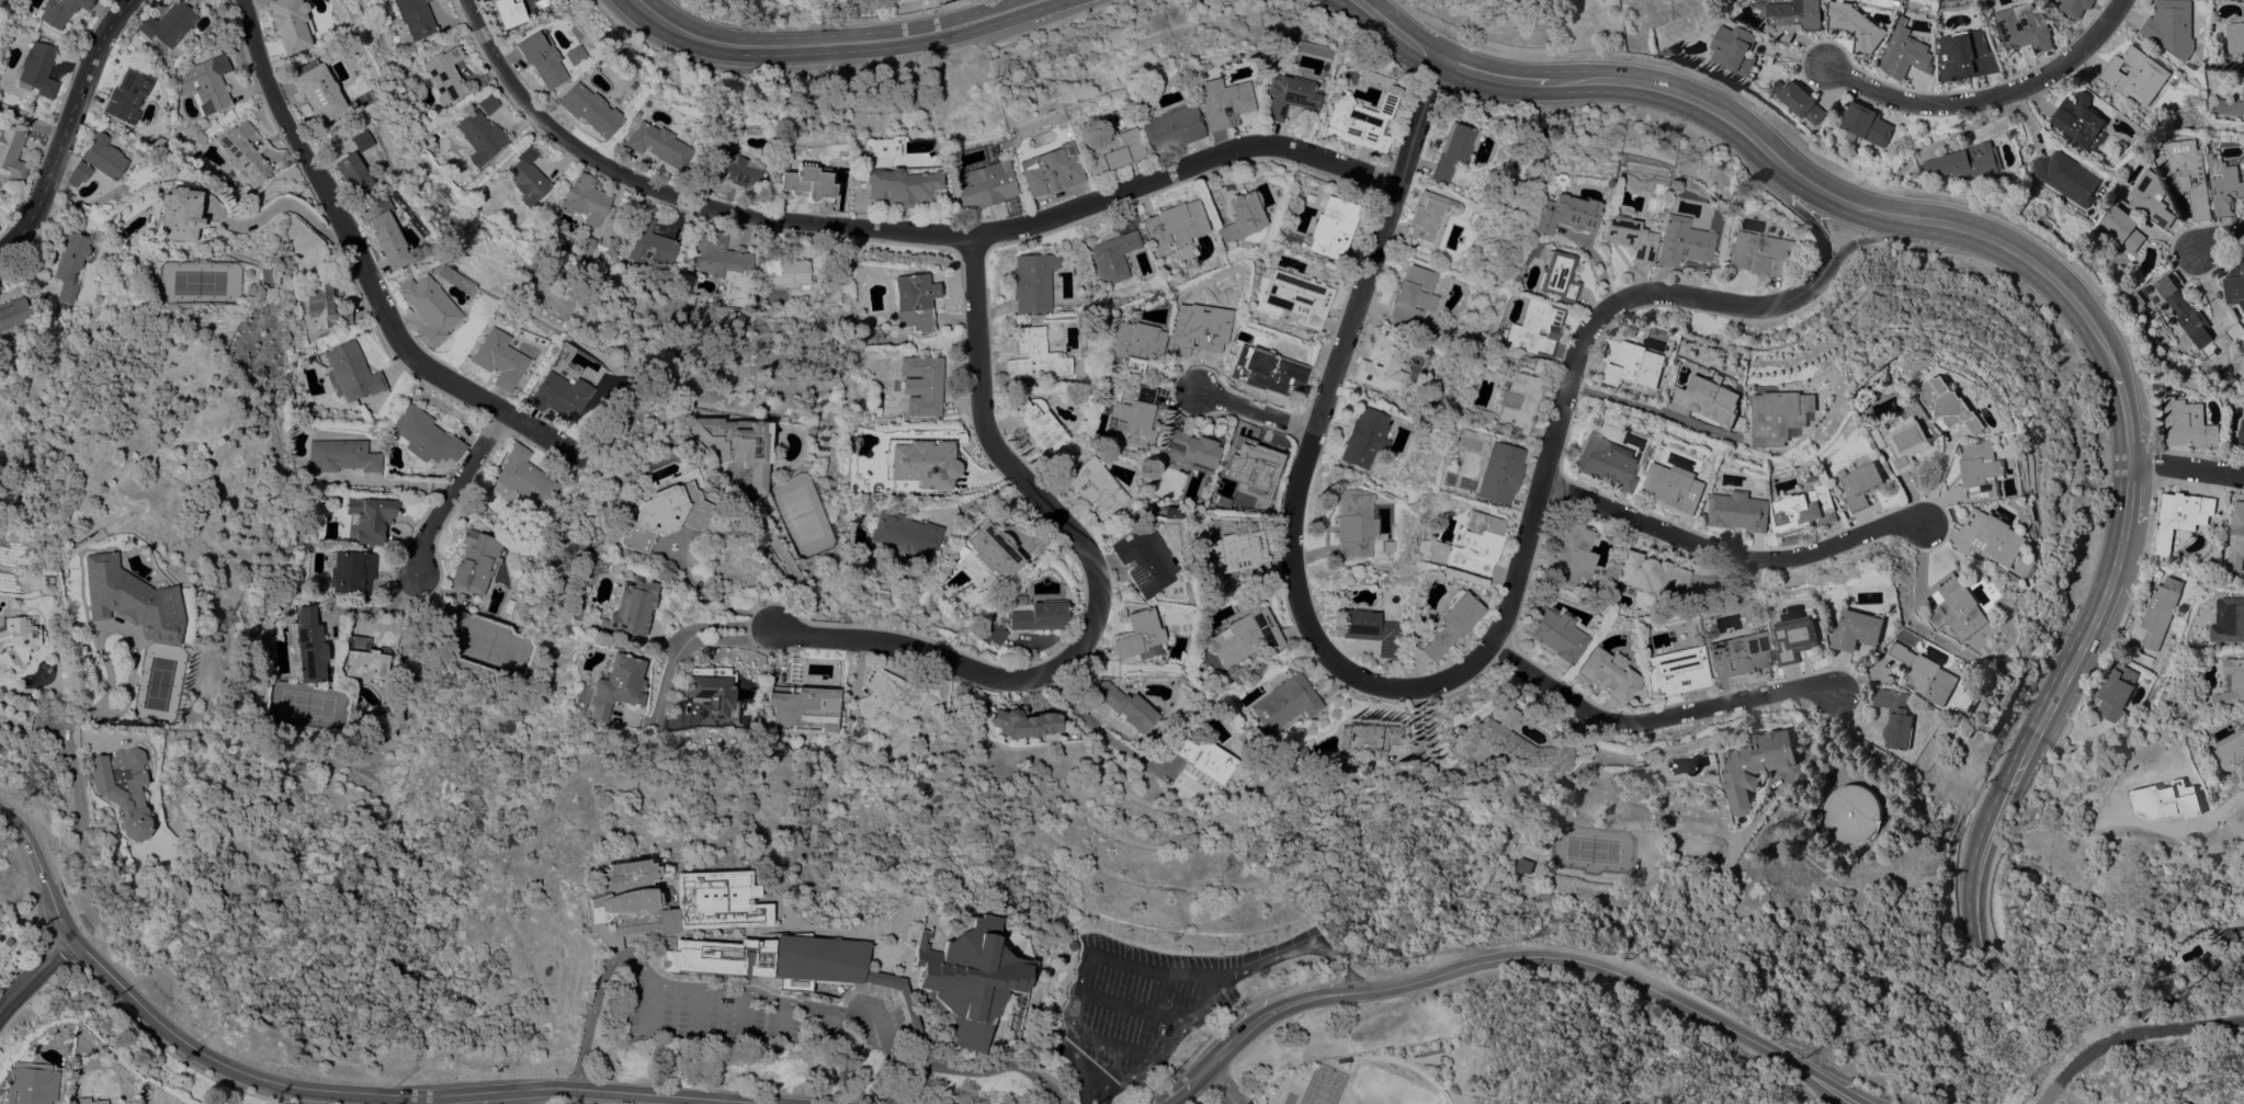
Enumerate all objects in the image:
building: (547, 7)
building: (2074, 7)
building: (60, 11)
building: (508, 11)
building: (415, 18)
building: (1793, 18)
building: (288, 23)
building: (167, 24)
building: (1856, 25)
building: (2171, 26)
building: (2024, 30)
road: (1397, 31)
building: (2234, 36)
road: (839, 43)
building: (1734, 48)
building: (1906, 52)
building: (574, 55)
building: (1967, 55)
building: (541, 58)
building: (37, 69)
building: (2135, 73)
building: (445, 75)
road: (1493, 78)
building: (206, 84)
building: (631, 84)
building: (175, 90)
building: (316, 90)
building: (126, 94)
building: (1285, 95)
road: (1684, 95)
building: (1798, 100)
road: (1992, 100)
building: (1219, 102)
building: (487, 103)
building: (2231, 106)
building: (590, 110)
building: (636, 114)
building: (1358, 119)
building: (2079, 121)
road: (32, 123)
building: (1865, 124)
road: (66, 128)
building: (1168, 129)
building: (688, 130)
building: (480, 136)
building: (359, 140)
building: (1001, 144)
building: (158, 145)
building: (658, 145)
building: (707, 145)
building: (1109, 149)
building: (11, 151)
building: (1451, 151)
building: (243, 153)
building: (104, 157)
building: (1968, 161)
building: (732, 168)
building: (1049, 170)
building: (350, 172)
building: (78, 173)
building: (2188, 173)
building: (2066, 177)
building: (528, 178)
building: (804, 183)
building: (2224, 184)
building: (899, 185)
building: (983, 185)
building: (2150, 197)
building: (586, 200)
road: (272, 205)
road: (1855, 207)
building: (1561, 214)
building: (177, 215)
building: (1238, 217)
road: (1815, 217)
building: (1428, 219)
building: (1172, 226)
building: (1331, 227)
building: (2122, 227)
building: (383, 230)
road: (897, 231)
building: (1627, 237)
road: (1871, 238)
road: (2220, 241)
building: (1680, 242)
building: (650, 244)
building: (586, 247)
road: (2013, 249)
building: (1758, 253)
building: (1112, 257)
road: (353, 261)
building: (723, 264)
building: (69, 265)
building: (787, 273)
building: (1554, 276)
building: (1032, 282)
building: (2234, 285)
building: (1413, 296)
building: (1223, 297)
building: (1297, 297)
building: (2135, 299)
building: (913, 301)
building: (324, 305)
building: (428, 308)
building: (13, 315)
building: (2190, 318)
building: (1532, 329)
building: (1191, 331)
building: (2233, 332)
road: (2101, 340)
building: (1132, 344)
building: (2179, 344)
building: (1035, 356)
building: (496, 358)
building: (1631, 362)
building: (1383, 364)
building: (2240, 365)
road: (1577, 366)
building: (1259, 369)
building: (350, 373)
building: (921, 385)
building: (1107, 390)
building: (557, 395)
building: (1710, 399)
building: (1516, 401)
building: (1951, 405)
road: (1655, 411)
road: (1255, 413)
road: (2129, 413)
building: (1130, 414)
building: (1474, 414)
building: (1779, 416)
building: (2188, 423)
building: (1039, 424)
building: (2242, 434)
building: (426, 436)
building: (1364, 437)
building: (1905, 442)
building: (735, 445)
road: (1314, 446)
building: (1187, 451)
building: (341, 456)
building: (920, 462)
building: (1606, 462)
building: (1250, 464)
road: (2188, 465)
building: (1982, 468)
building: (1497, 473)
building: (523, 479)
building: (1861, 483)
building: (1673, 487)
building: (1096, 489)
road: (2128, 491)
road: (978, 497)
road: (449, 499)
building: (1805, 509)
building: (1738, 510)
building: (660, 515)
building: (2177, 517)
building: (369, 519)
building: (1353, 523)
building: (906, 536)
building: (1991, 536)
building: (2236, 537)
building: (1474, 544)
building: (993, 550)
road: (1735, 550)
road: (777, 554)
building: (1235, 554)
building: (1568, 555)
building: (1143, 560)
building: (475, 561)
building: (2026, 567)
building: (61, 572)
building: (352, 572)
building: (1648, 573)
building: (2011, 573)
road: (1098, 587)
building: (1935, 593)
road: (2104, 593)
building: (129, 596)
building: (288, 601)
building: (14, 603)
building: (1959, 606)
building: (628, 608)
building: (2160, 611)
building: (1040, 616)
building: (2229, 619)
building: (1450, 623)
building: (1858, 628)
building: (1370, 630)
building: (259, 631)
building: (1555, 633)
building: (995, 634)
building: (1244, 635)
road: (695, 636)
building: (1138, 636)
building: (1795, 638)
building: (16, 642)
road: (133, 644)
building: (309, 645)
building: (1736, 653)
building: (365, 659)
building: (1675, 671)
building: (1607, 673)
building: (1925, 673)
building: (2146, 676)
building: (2231, 684)
building: (615, 685)
building: (2116, 691)
building: (714, 695)
building: (889, 695)
building: (1285, 703)
building: (1122, 704)
building: (803, 707)
road: (29, 715)
building: (1897, 716)
road: (2043, 716)
road: (1662, 719)
building: (749, 724)
building: (1024, 724)
road: (1100, 725)
building: (1367, 737)
building: (1508, 742)
road: (1419, 753)
building: (2234, 753)
building: (1206, 760)
building: (1756, 765)
building: (123, 789)
building: (2172, 798)
building: (2112, 806)
road: (2221, 808)
building: (1852, 809)
road: (80, 817)
road: (1976, 857)
building: (1525, 864)
building: (717, 906)
road: (1522, 955)
building: (719, 957)
building: (818, 963)
road: (34, 974)
road: (1154, 975)
building: (963, 981)
road: (778, 998)
parking lot: (1152, 1003)
road: (1133, 1009)
building: (905, 1012)
road: (2131, 1036)
road: (1111, 1046)
road: (1163, 1050)
road: (1217, 1081)
building: (30, 1083)
park: (1322, 1085)
road: (318, 1089)
road: (1171, 1092)
road: (2071, 1095)
road: (532, 1096)
road: (586, 1097)
building: (89, 1101)
road: (420, 1101)
road: (1226, 1101)
road: (1235, 1101)
power substation: (2186, 1102)

